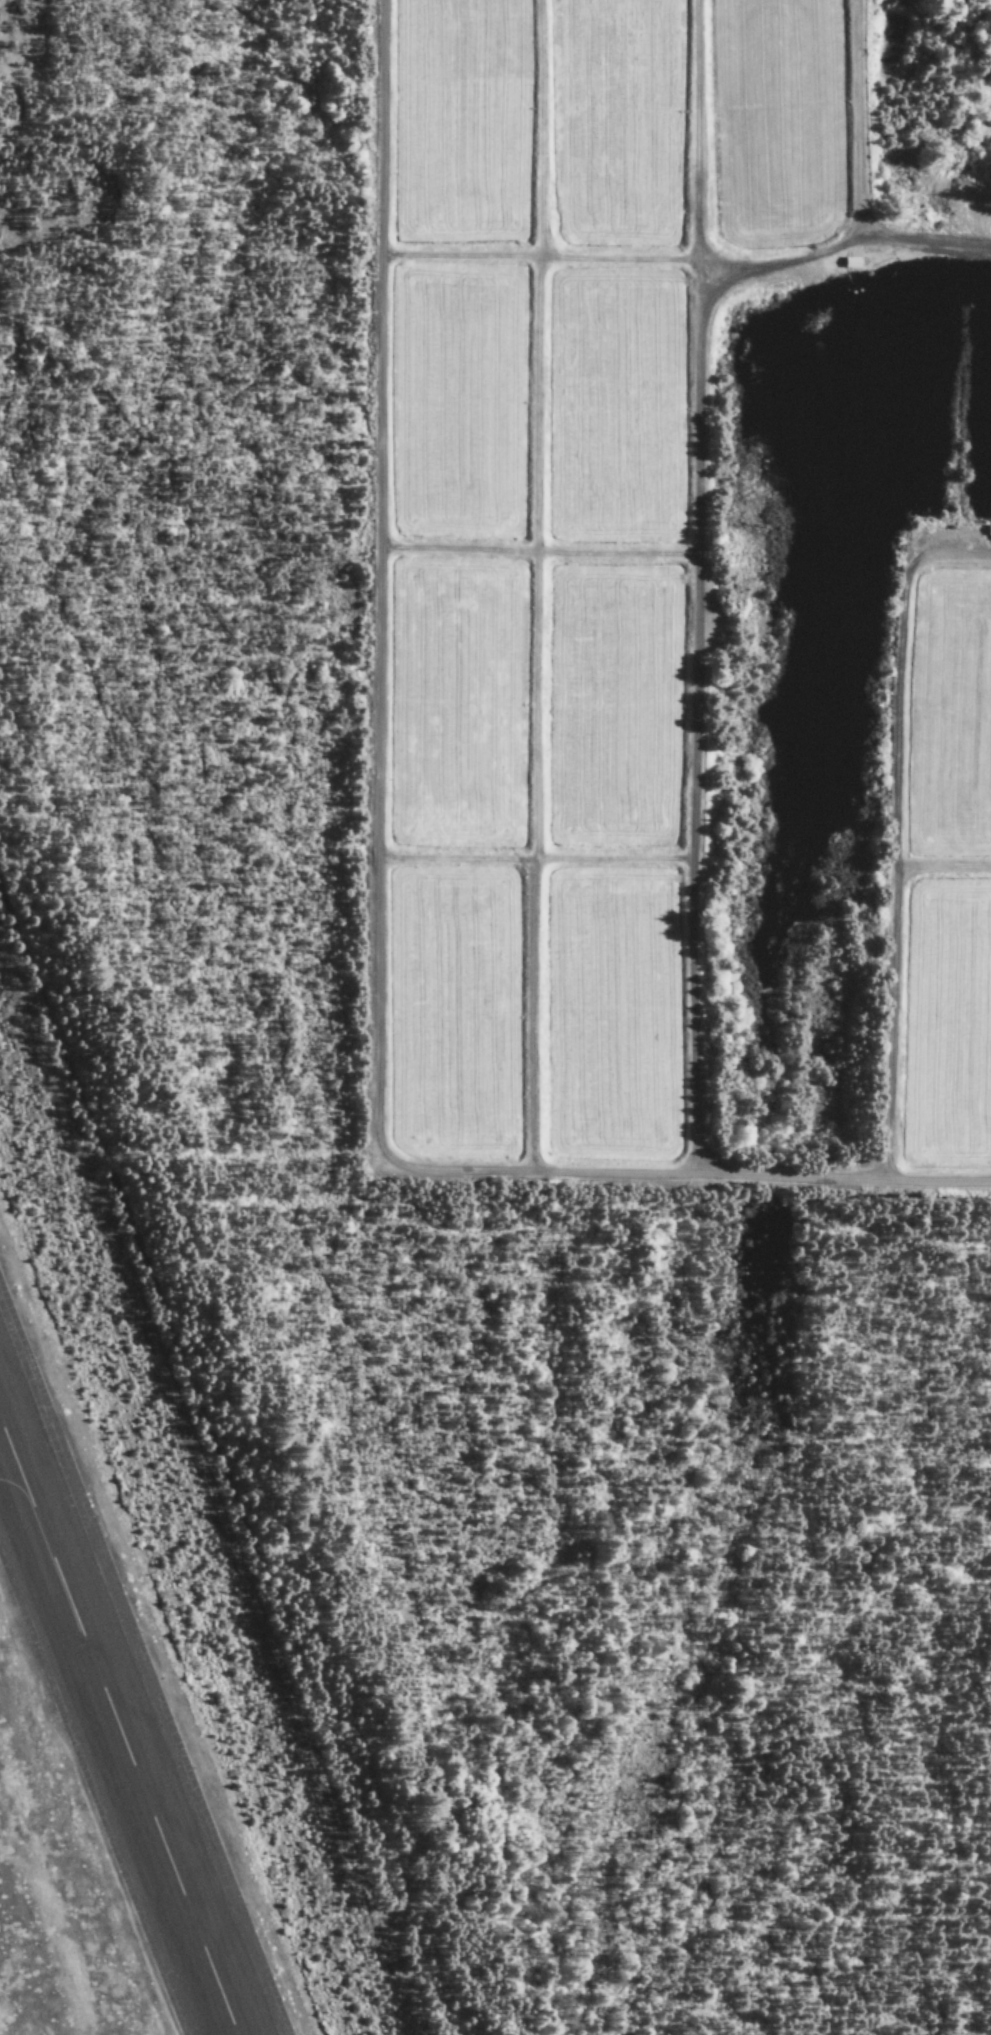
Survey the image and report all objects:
road: (15, 71)
crop: (616, 123)
crop: (460, 125)
crop: (776, 125)
crop: (458, 408)
crop: (616, 408)
crop: (453, 703)
crop: (614, 708)
crop: (951, 718)
crop: (455, 1016)
crop: (613, 1020)
crop: (948, 1031)
airport: (198, 1534)
airport runway: (119, 1726)

